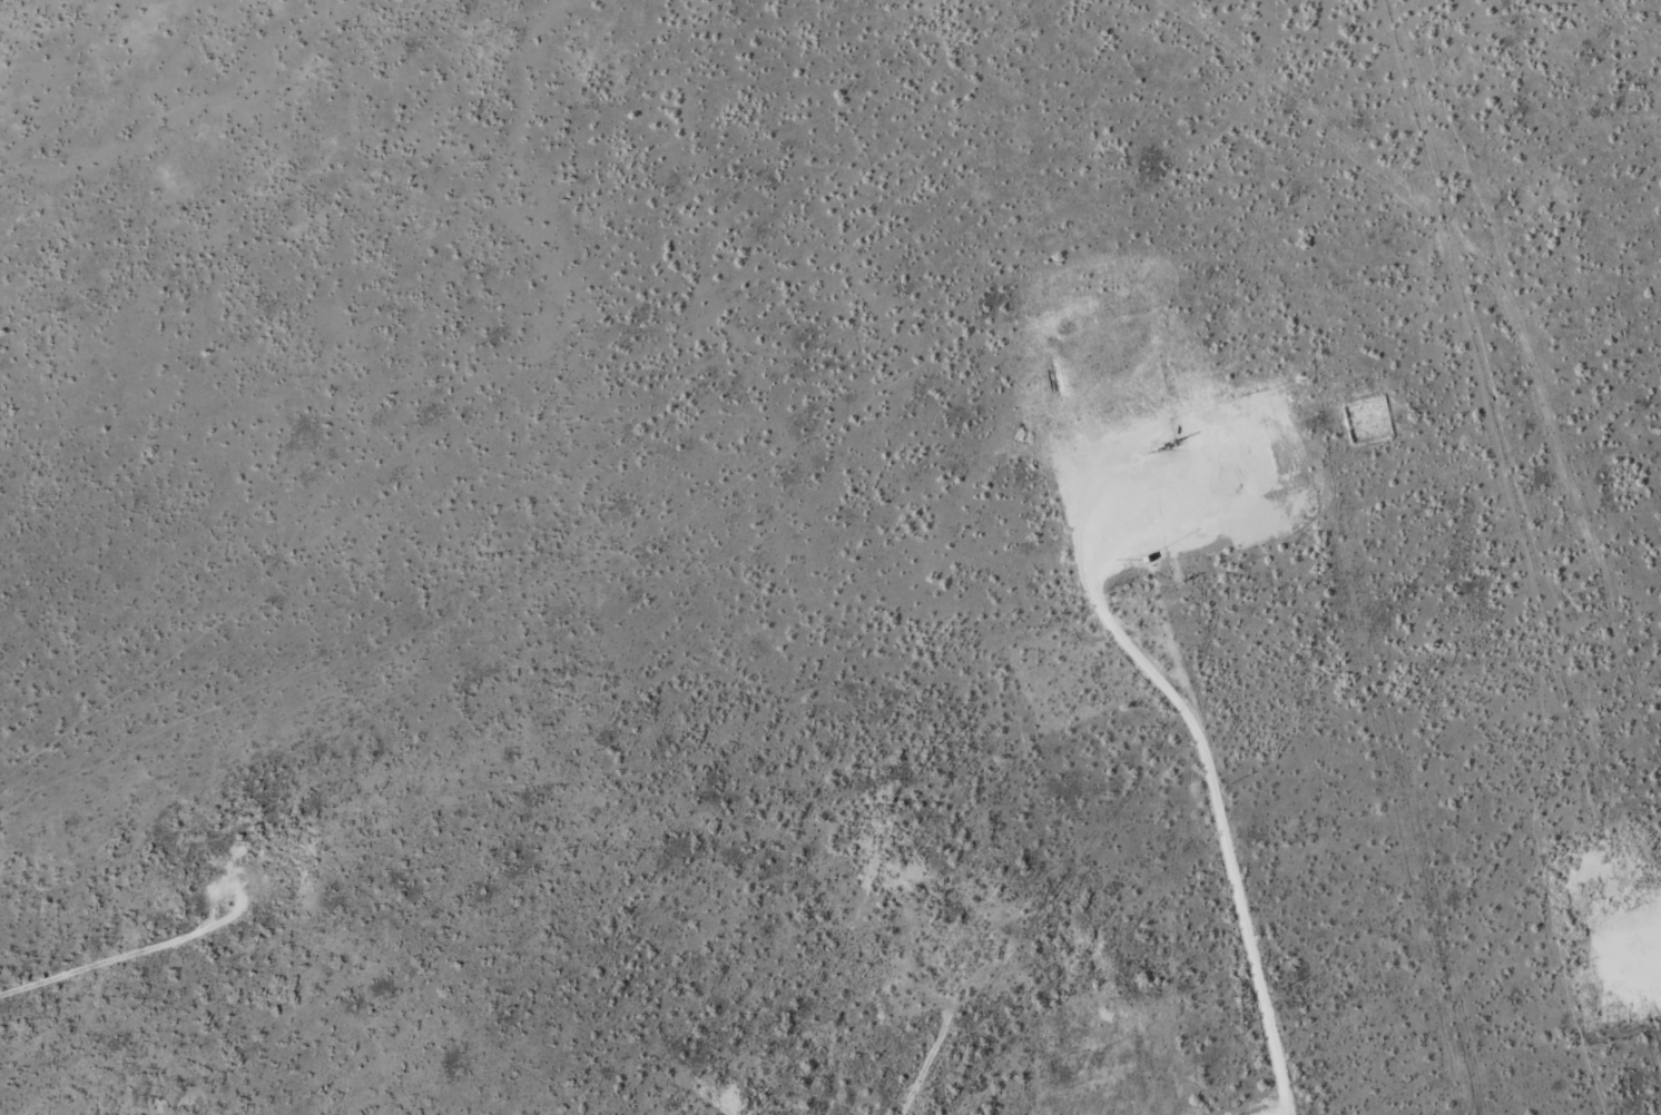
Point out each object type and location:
road: (108, 953)

